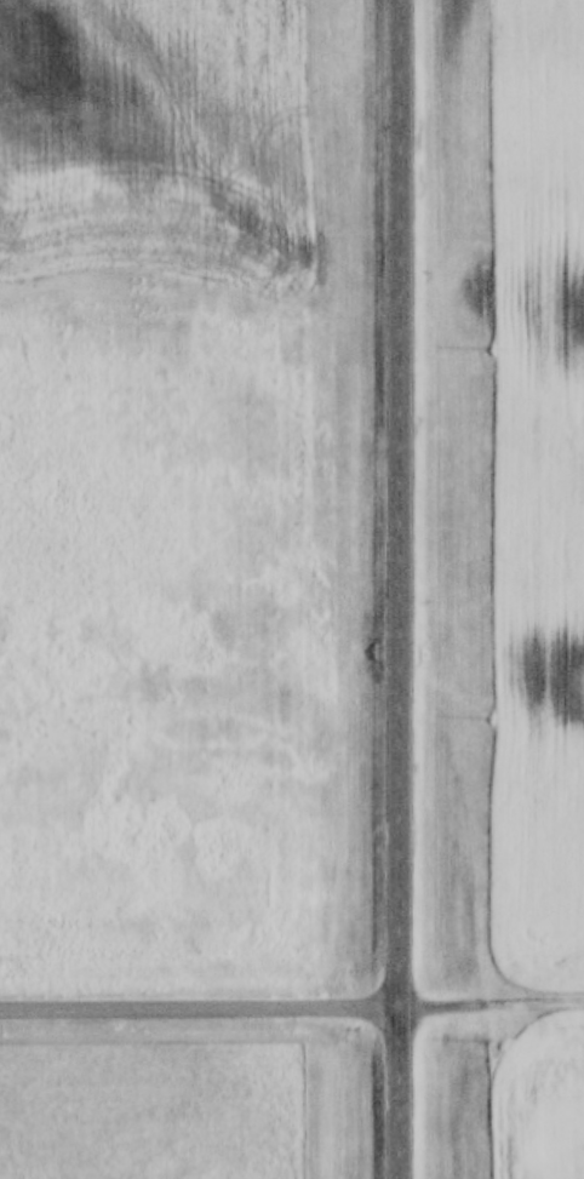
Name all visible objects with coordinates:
road: (395, 589)
road: (489, 1000)
road: (197, 1006)
crop: (540, 1097)

